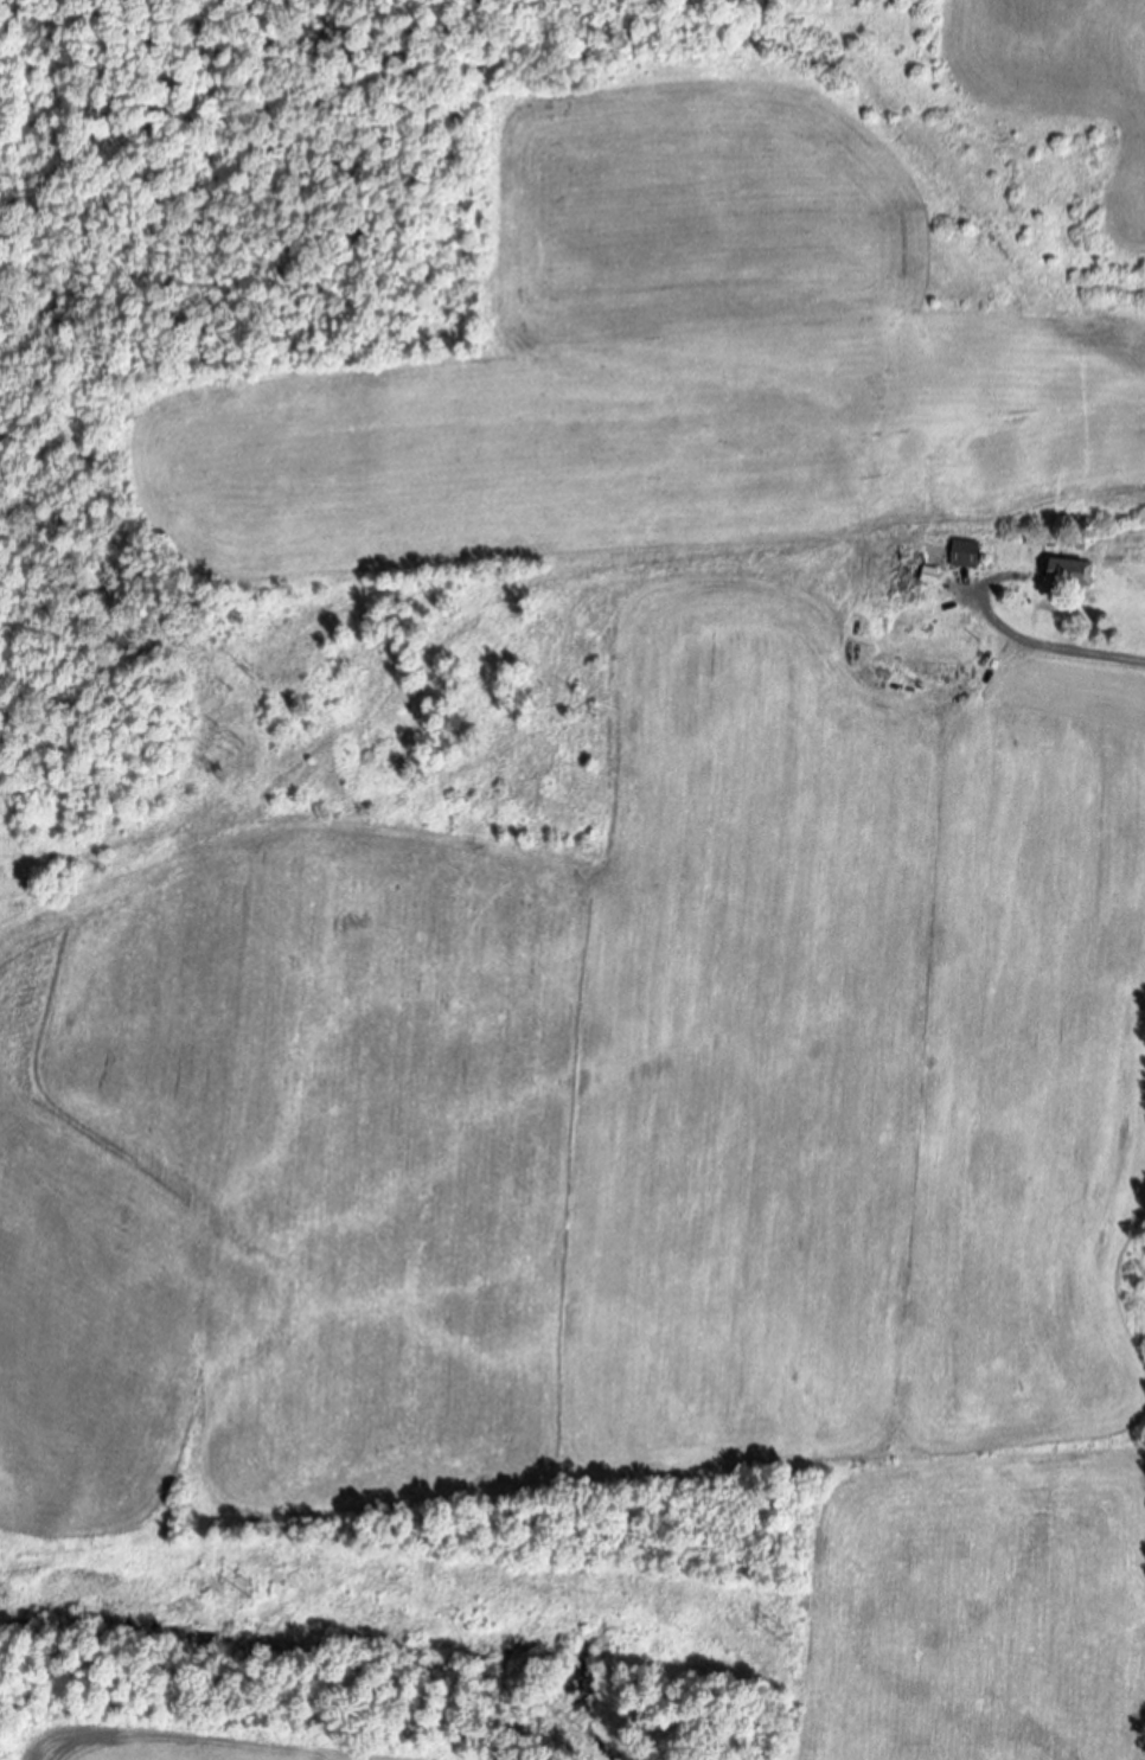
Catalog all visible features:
building: (972, 557)
building: (1079, 576)
building: (935, 578)
power tower: (257, 1593)
power tower: (785, 1637)

